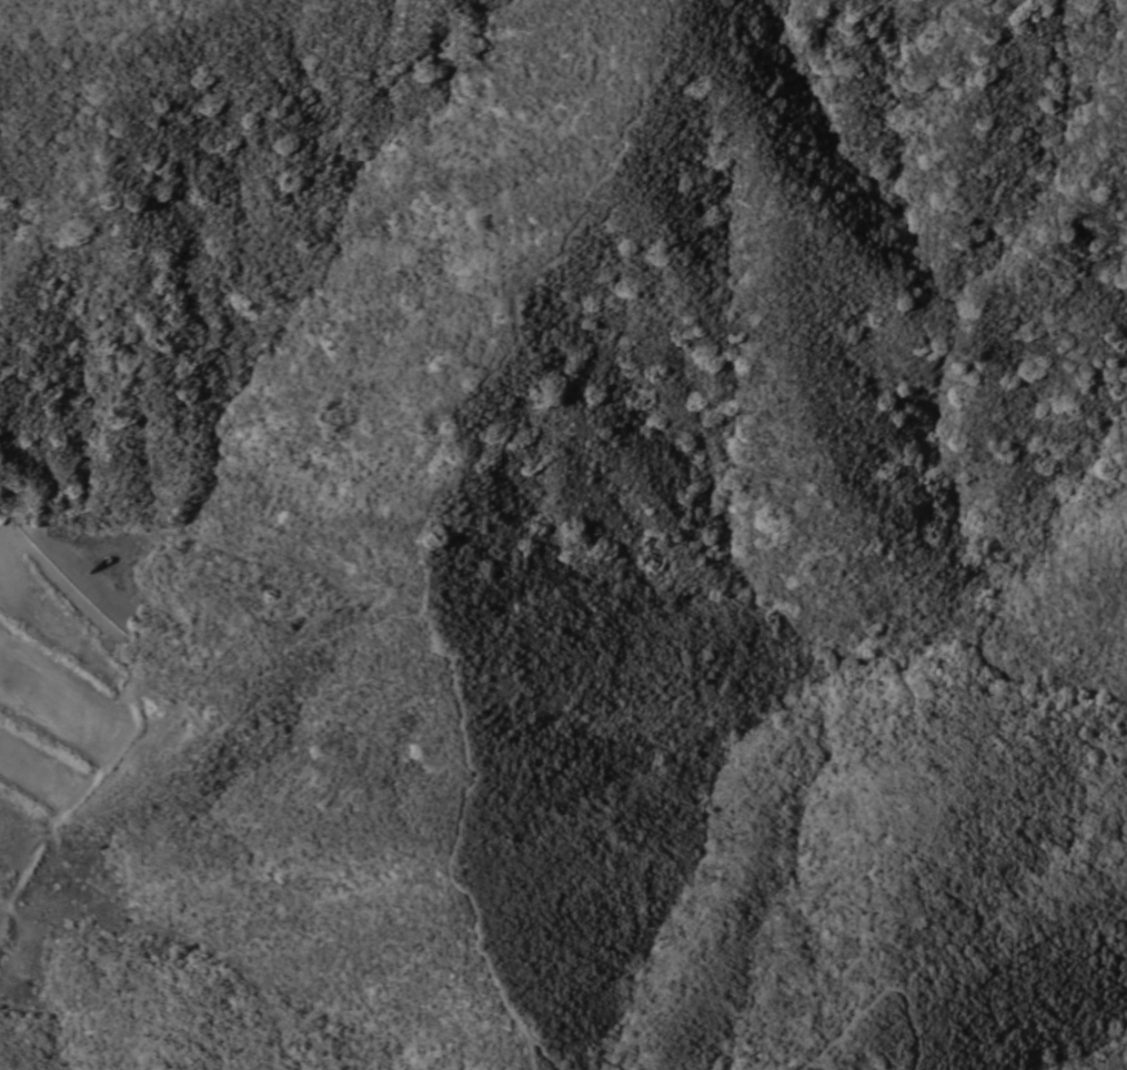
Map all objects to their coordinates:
helipad: (425, 539)
road: (251, 690)
road: (466, 815)
road: (867, 999)
road: (535, 1051)

